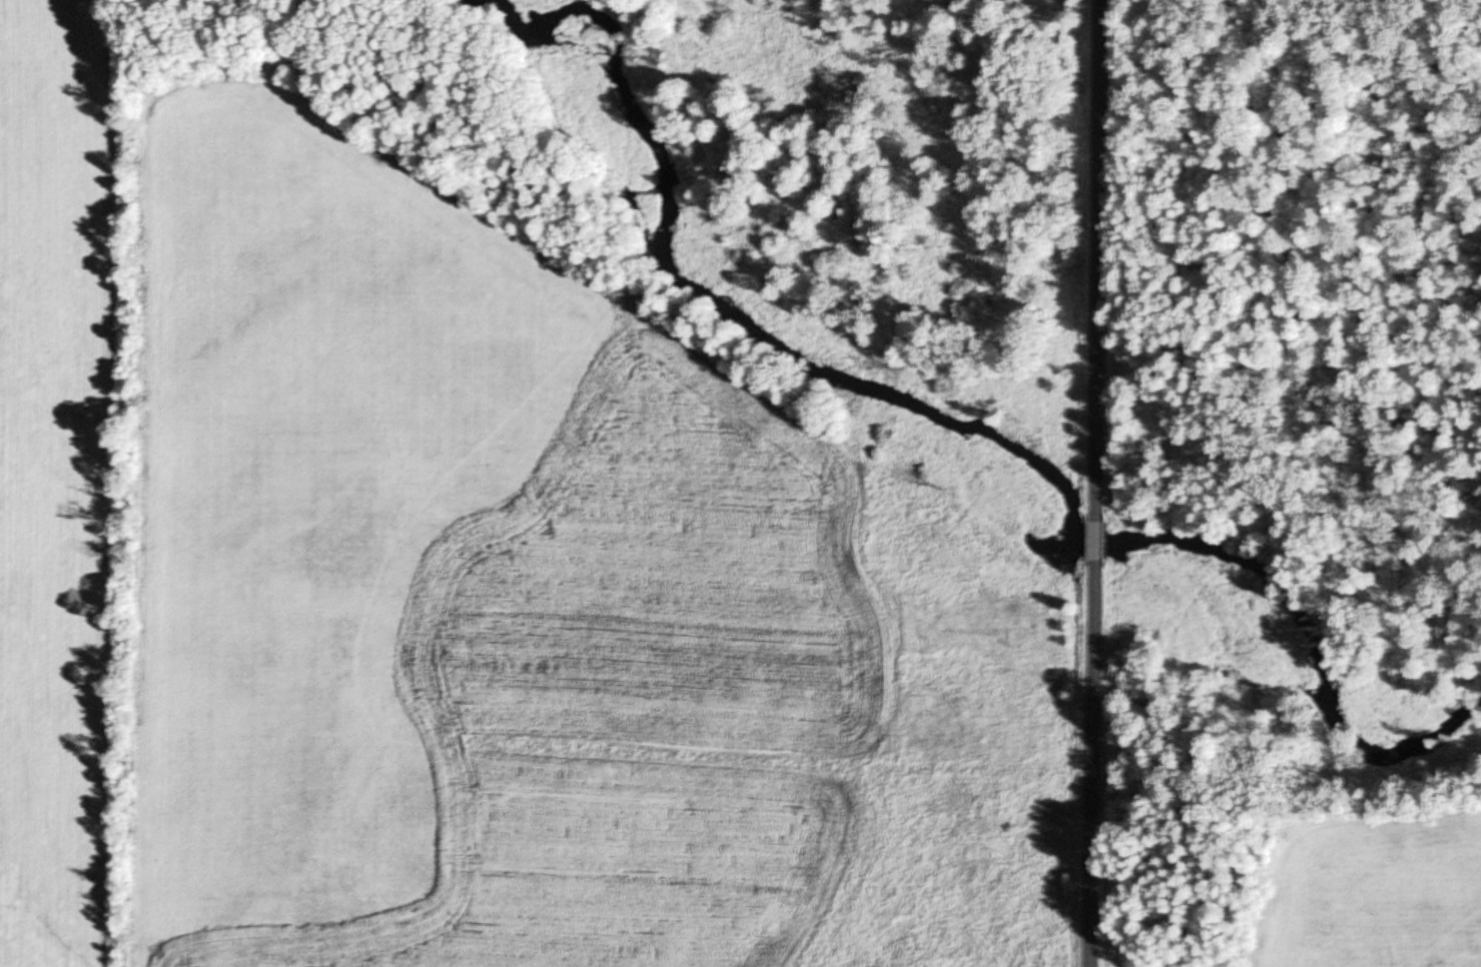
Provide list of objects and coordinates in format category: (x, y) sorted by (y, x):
road: (1098, 483)

